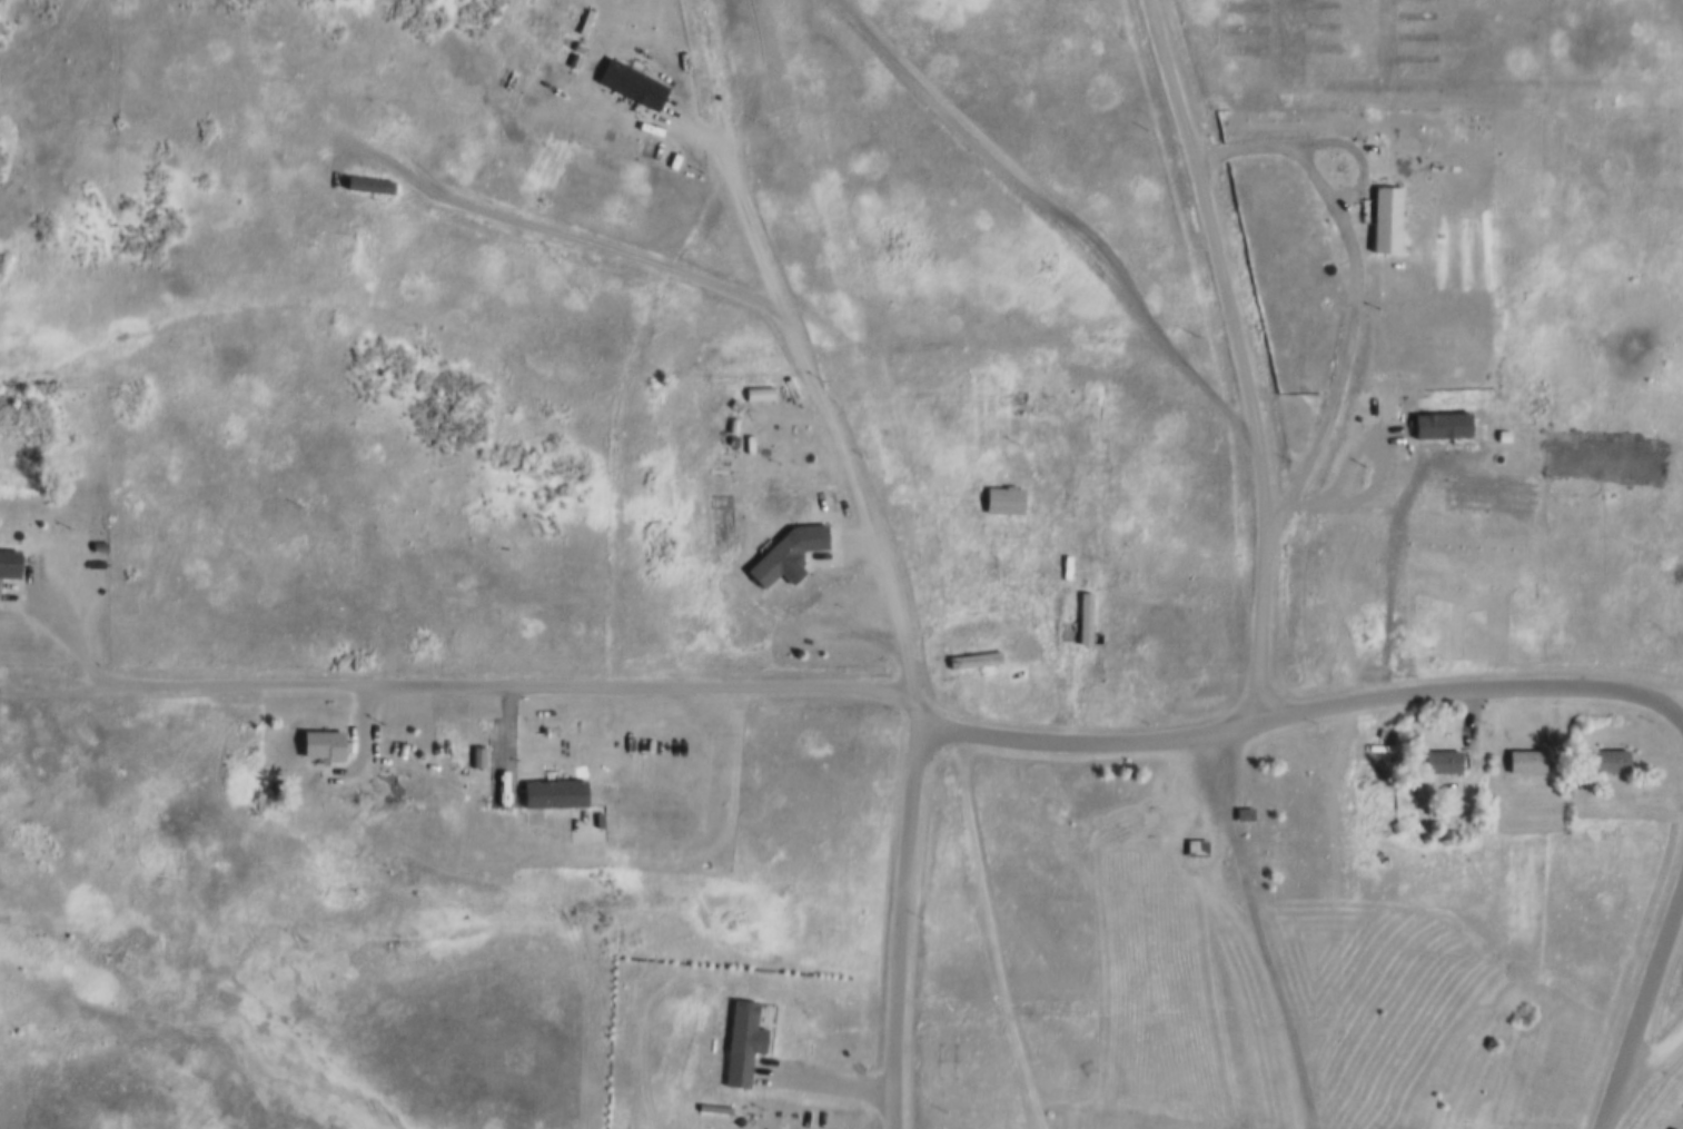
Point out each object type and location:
building: (630, 82)
building: (365, 182)
building: (1382, 220)
road: (575, 234)
road: (799, 347)
building: (756, 388)
building: (1002, 426)
building: (1002, 496)
building: (781, 503)
building: (771, 558)
building: (8, 563)
building: (1063, 564)
building: (661, 588)
road: (1028, 611)
building: (1082, 615)
building: (971, 658)
road: (445, 689)
road: (1657, 694)
road: (1660, 702)
road: (1281, 723)
building: (317, 746)
building: (1438, 761)
building: (1524, 761)
building: (1606, 761)
building: (551, 794)
building: (1244, 815)
building: (1197, 848)
road: (902, 907)
road: (1346, 913)
road: (1642, 1017)
building: (740, 1041)
road: (1653, 1060)
building: (1673, 1128)

